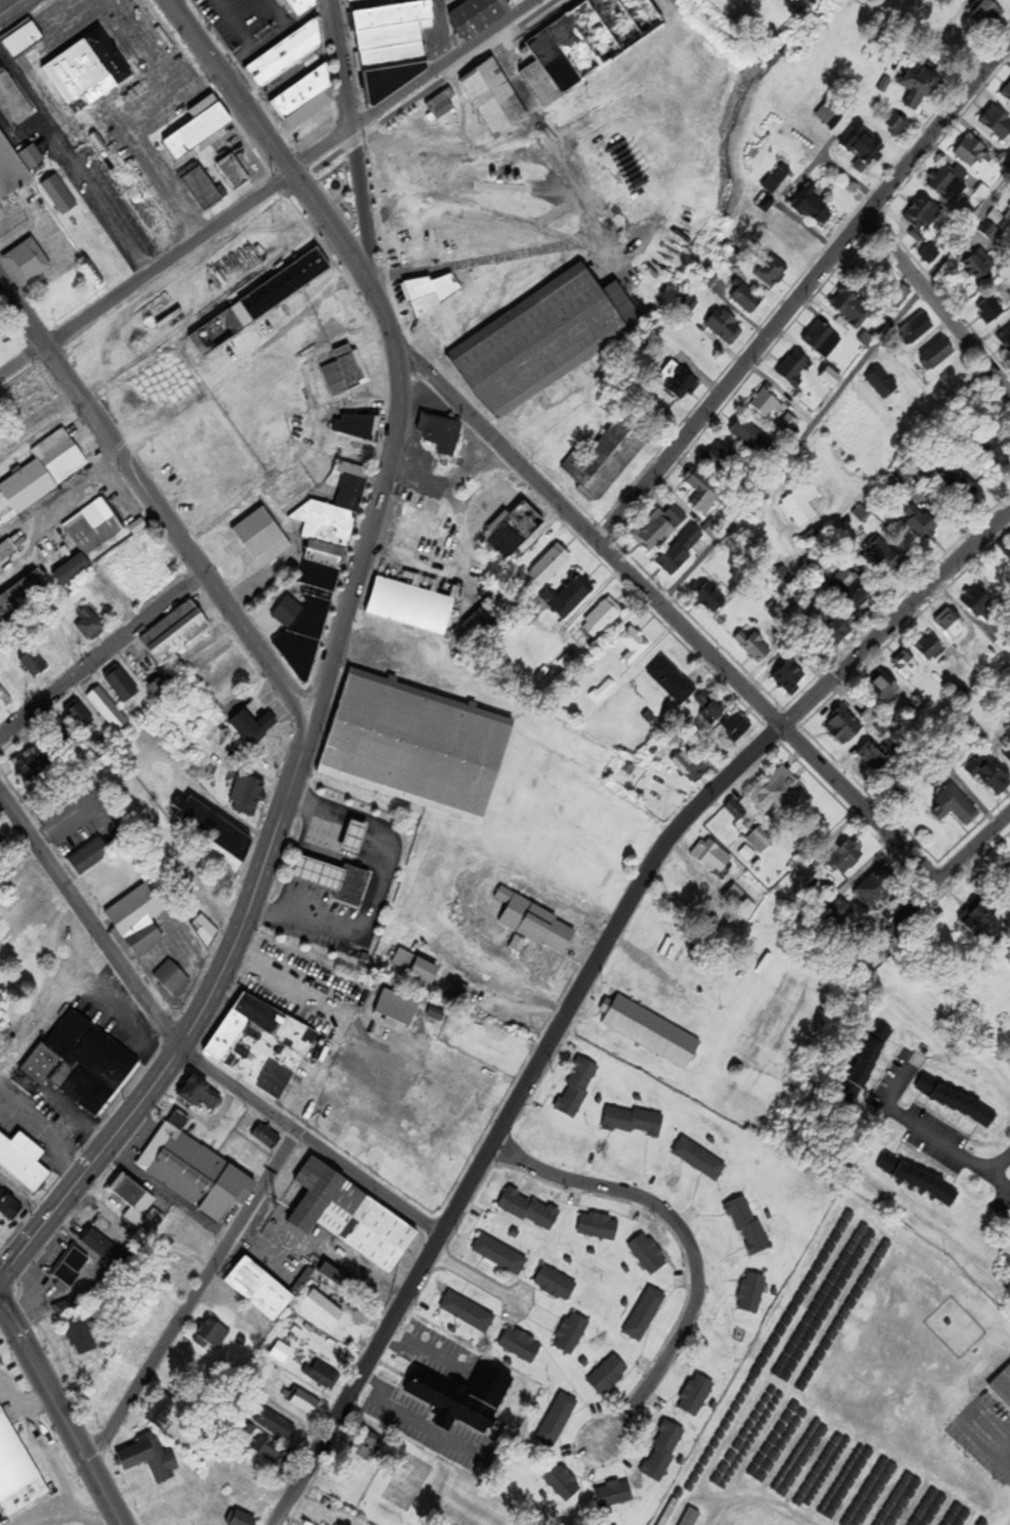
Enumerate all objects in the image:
building: (353, 0)
road: (9, 6)
building: (301, 6)
building: (642, 9)
building: (987, 15)
building: (479, 16)
road: (438, 32)
building: (22, 41)
building: (396, 46)
building: (578, 46)
building: (286, 55)
road: (341, 72)
road: (454, 72)
building: (84, 74)
road: (229, 86)
road: (412, 86)
building: (920, 87)
building: (1006, 94)
building: (494, 99)
building: (304, 100)
building: (12, 101)
building: (440, 107)
building: (826, 114)
building: (996, 124)
building: (895, 126)
building: (199, 128)
building: (863, 148)
building: (970, 152)
road: (325, 164)
building: (16, 168)
building: (233, 173)
road: (294, 178)
building: (777, 178)
building: (949, 184)
building: (201, 189)
building: (58, 196)
building: (139, 207)
building: (812, 207)
road: (361, 214)
road: (112, 215)
building: (920, 218)
building: (1006, 219)
road: (335, 233)
building: (794, 238)
building: (930, 254)
road: (524, 255)
road: (169, 259)
building: (26, 263)
building: (979, 267)
building: (875, 270)
building: (771, 271)
building: (285, 285)
road: (804, 289)
building: (432, 293)
building: (745, 299)
building: (850, 307)
road: (936, 307)
road: (22, 311)
building: (990, 311)
railway: (103, 318)
road: (385, 319)
building: (724, 327)
building: (916, 328)
building: (216, 333)
building: (822, 340)
building: (1005, 341)
building: (539, 343)
building: (936, 355)
road: (22, 359)
building: (794, 369)
building: (344, 372)
building: (830, 378)
building: (677, 381)
building: (882, 384)
road: (833, 388)
building: (763, 403)
building: (33, 404)
building: (787, 425)
building: (359, 427)
building: (440, 434)
building: (750, 437)
building: (996, 453)
building: (606, 458)
building: (717, 458)
building: (43, 472)
building: (959, 485)
building: (290, 490)
building: (702, 491)
building: (801, 507)
building: (919, 523)
building: (659, 529)
building: (514, 532)
road: (175, 534)
building: (424, 536)
building: (87, 538)
building: (262, 539)
road: (366, 540)
building: (6, 551)
building: (680, 552)
building: (884, 557)
building: (550, 566)
building: (319, 573)
building: (782, 579)
building: (851, 589)
building: (20, 596)
building: (569, 598)
building: (709, 599)
building: (978, 602)
building: (414, 603)
building: (485, 618)
building: (601, 620)
road: (678, 624)
building: (88, 626)
building: (951, 626)
building: (830, 632)
building: (174, 633)
building: (633, 647)
building: (754, 648)
building: (929, 649)
road: (100, 652)
building: (32, 665)
building: (907, 668)
building: (790, 679)
building: (671, 682)
building: (121, 687)
building: (885, 689)
building: (157, 690)
building: (602, 693)
building: (709, 709)
building: (107, 710)
building: (870, 718)
building: (79, 719)
building: (252, 728)
building: (736, 728)
building: (843, 728)
building: (60, 735)
building: (176, 742)
building: (417, 747)
building: (1009, 757)
building: (873, 758)
building: (28, 763)
building: (689, 766)
building: (990, 776)
building: (777, 795)
building: (246, 796)
building: (954, 808)
building: (735, 813)
road: (983, 834)
building: (215, 836)
building: (349, 837)
building: (760, 842)
building: (1, 848)
building: (89, 858)
building: (712, 858)
building: (847, 859)
building: (7, 870)
building: (314, 874)
building: (347, 885)
building: (875, 892)
building: (733, 896)
building: (747, 910)
building: (839, 914)
building: (139, 920)
building: (536, 925)
building: (987, 925)
building: (204, 932)
building: (402, 961)
building: (425, 973)
road: (585, 973)
building: (172, 980)
road: (58, 990)
building: (458, 992)
building: (397, 1009)
building: (981, 1018)
road: (194, 1019)
building: (650, 1033)
building: (261, 1046)
road: (183, 1047)
building: (866, 1065)
building: (79, 1066)
building: (576, 1089)
building: (199, 1095)
building: (956, 1103)
building: (633, 1123)
building: (266, 1138)
road: (950, 1146)
building: (699, 1160)
building: (22, 1162)
building: (195, 1171)
building: (918, 1181)
building: (138, 1205)
building: (8, 1207)
building: (529, 1209)
building: (352, 1218)
building: (748, 1226)
building: (598, 1227)
road: (687, 1244)
building: (102, 1248)
building: (854, 1251)
building: (500, 1255)
building: (648, 1255)
building: (873, 1267)
building: (70, 1270)
building: (174, 1277)
road: (472, 1277)
building: (555, 1284)
building: (260, 1289)
building: (751, 1293)
building: (163, 1296)
road: (195, 1302)
building: (66, 1307)
building: (153, 1312)
building: (467, 1313)
building: (645, 1315)
building: (141, 1330)
building: (571, 1334)
building: (80, 1336)
building: (212, 1336)
building: (520, 1346)
building: (124, 1350)
building: (196, 1362)
building: (321, 1375)
building: (607, 1375)
building: (1002, 1387)
building: (100, 1393)
building: (696, 1395)
building: (463, 1398)
building: (304, 1402)
building: (162, 1412)
road: (59, 1416)
building: (557, 1420)
building: (274, 1424)
road: (988, 1439)
building: (365, 1445)
building: (665, 1449)
road: (43, 1451)
building: (271, 1453)
building: (150, 1458)
building: (14, 1475)
building: (561, 1482)
building: (904, 1493)
building: (613, 1494)
building: (929, 1509)
building: (956, 1516)
building: (690, 1517)
road: (81, 1518)
building: (237, 1518)
building: (980, 1523)

